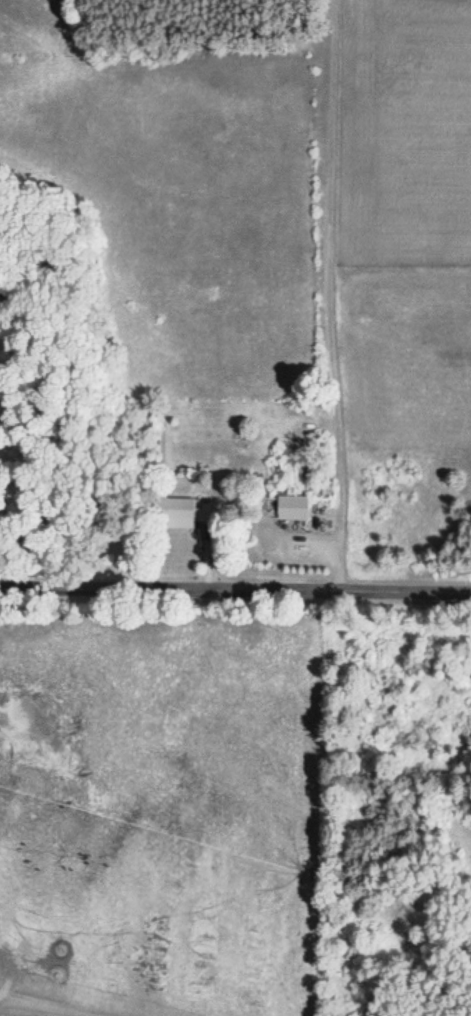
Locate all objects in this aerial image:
building: (293, 507)
building: (177, 512)
road: (235, 596)

